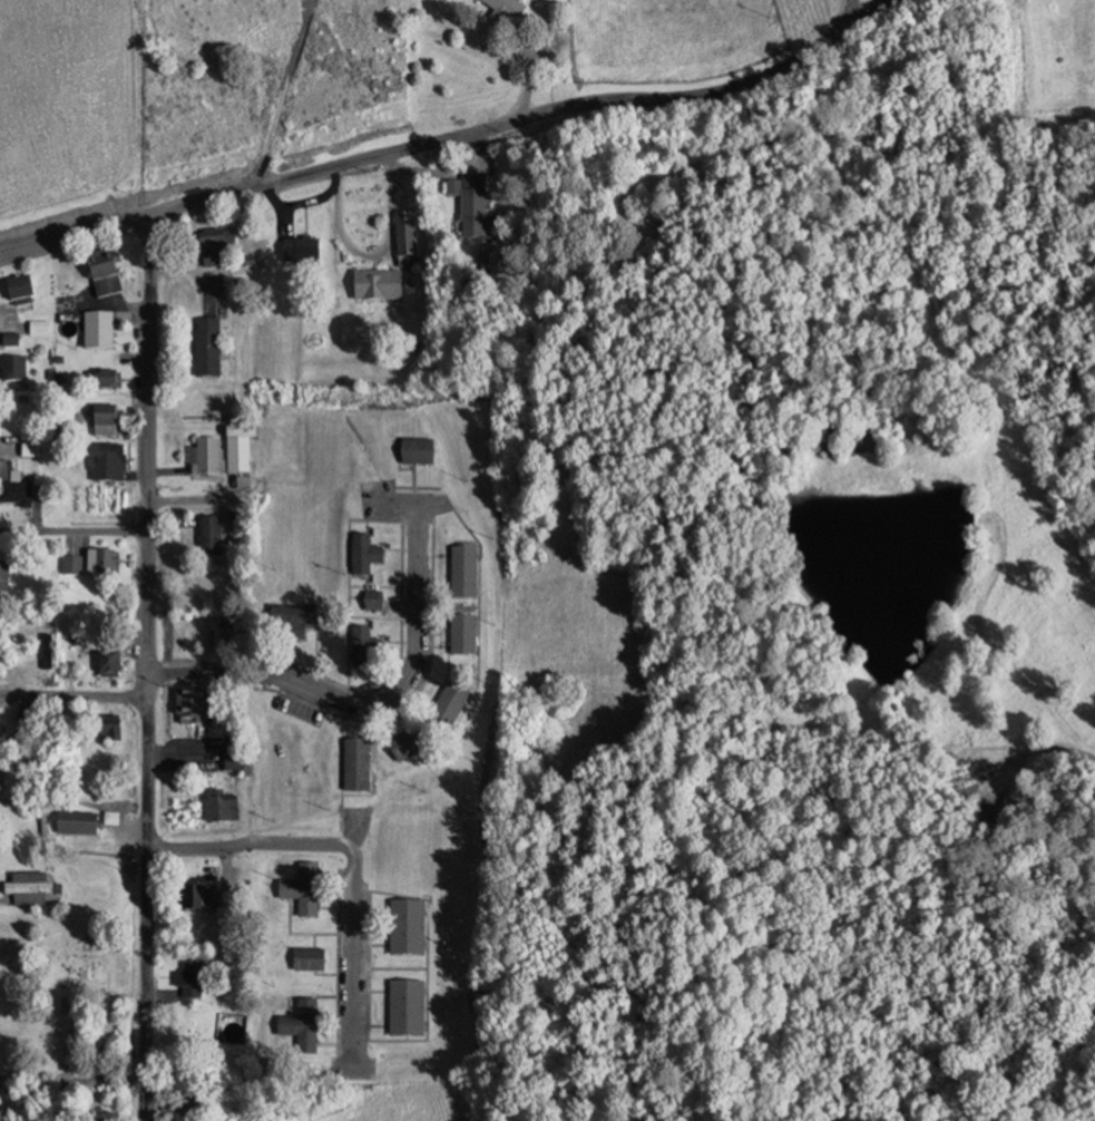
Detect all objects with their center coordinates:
building: (502, 10)
road: (852, 11)
road: (548, 29)
road: (300, 42)
road: (208, 55)
road: (529, 70)
road: (267, 135)
road: (448, 135)
road: (451, 168)
building: (473, 206)
road: (886, 230)
building: (215, 243)
building: (403, 252)
building: (301, 253)
road: (368, 254)
building: (102, 267)
road: (188, 269)
building: (19, 283)
building: (378, 286)
building: (98, 326)
building: (39, 328)
building: (205, 343)
building: (11, 364)
building: (107, 376)
building: (104, 417)
road: (6, 446)
building: (237, 451)
building: (417, 454)
building: (204, 455)
building: (108, 459)
road: (412, 477)
building: (11, 485)
parking lot: (394, 498)
road: (185, 500)
road: (169, 519)
road: (74, 532)
building: (208, 534)
road: (74, 539)
road: (393, 547)
road: (438, 553)
building: (363, 556)
building: (100, 558)
building: (72, 567)
building: (2, 573)
road: (348, 574)
building: (463, 574)
road: (1001, 574)
road: (374, 583)
building: (372, 603)
road: (479, 612)
road: (373, 614)
road: (964, 615)
building: (291, 624)
building: (219, 634)
building: (462, 636)
road: (438, 642)
building: (362, 650)
building: (47, 653)
building: (107, 660)
road: (147, 667)
road: (390, 678)
road: (430, 679)
road: (368, 682)
road: (415, 689)
road: (75, 696)
road: (358, 700)
building: (192, 702)
building: (450, 705)
parking lot: (297, 710)
road: (922, 718)
building: (108, 725)
building: (26, 728)
building: (0, 730)
building: (405, 745)
road: (1037, 756)
building: (355, 768)
road: (341, 779)
building: (218, 806)
building: (76, 820)
road: (74, 847)
road: (353, 858)
building: (30, 886)
building: (193, 889)
building: (302, 891)
road: (329, 906)
building: (229, 919)
building: (407, 928)
road: (295, 933)
road: (312, 938)
road: (373, 945)
road: (336, 956)
building: (307, 962)
road: (394, 966)
road: (324, 973)
building: (190, 974)
road: (373, 991)
building: (405, 1010)
road: (374, 1024)
building: (302, 1027)
road: (423, 1037)
road: (326, 1044)
building: (173, 1051)
road: (72, 1078)
building: (179, 1103)
building: (87, 1114)

